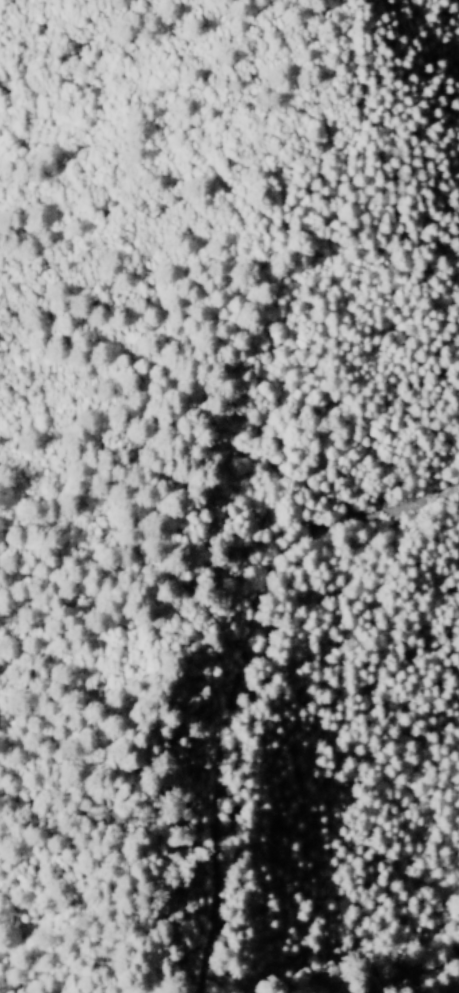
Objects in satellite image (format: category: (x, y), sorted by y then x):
road: (231, 672)

